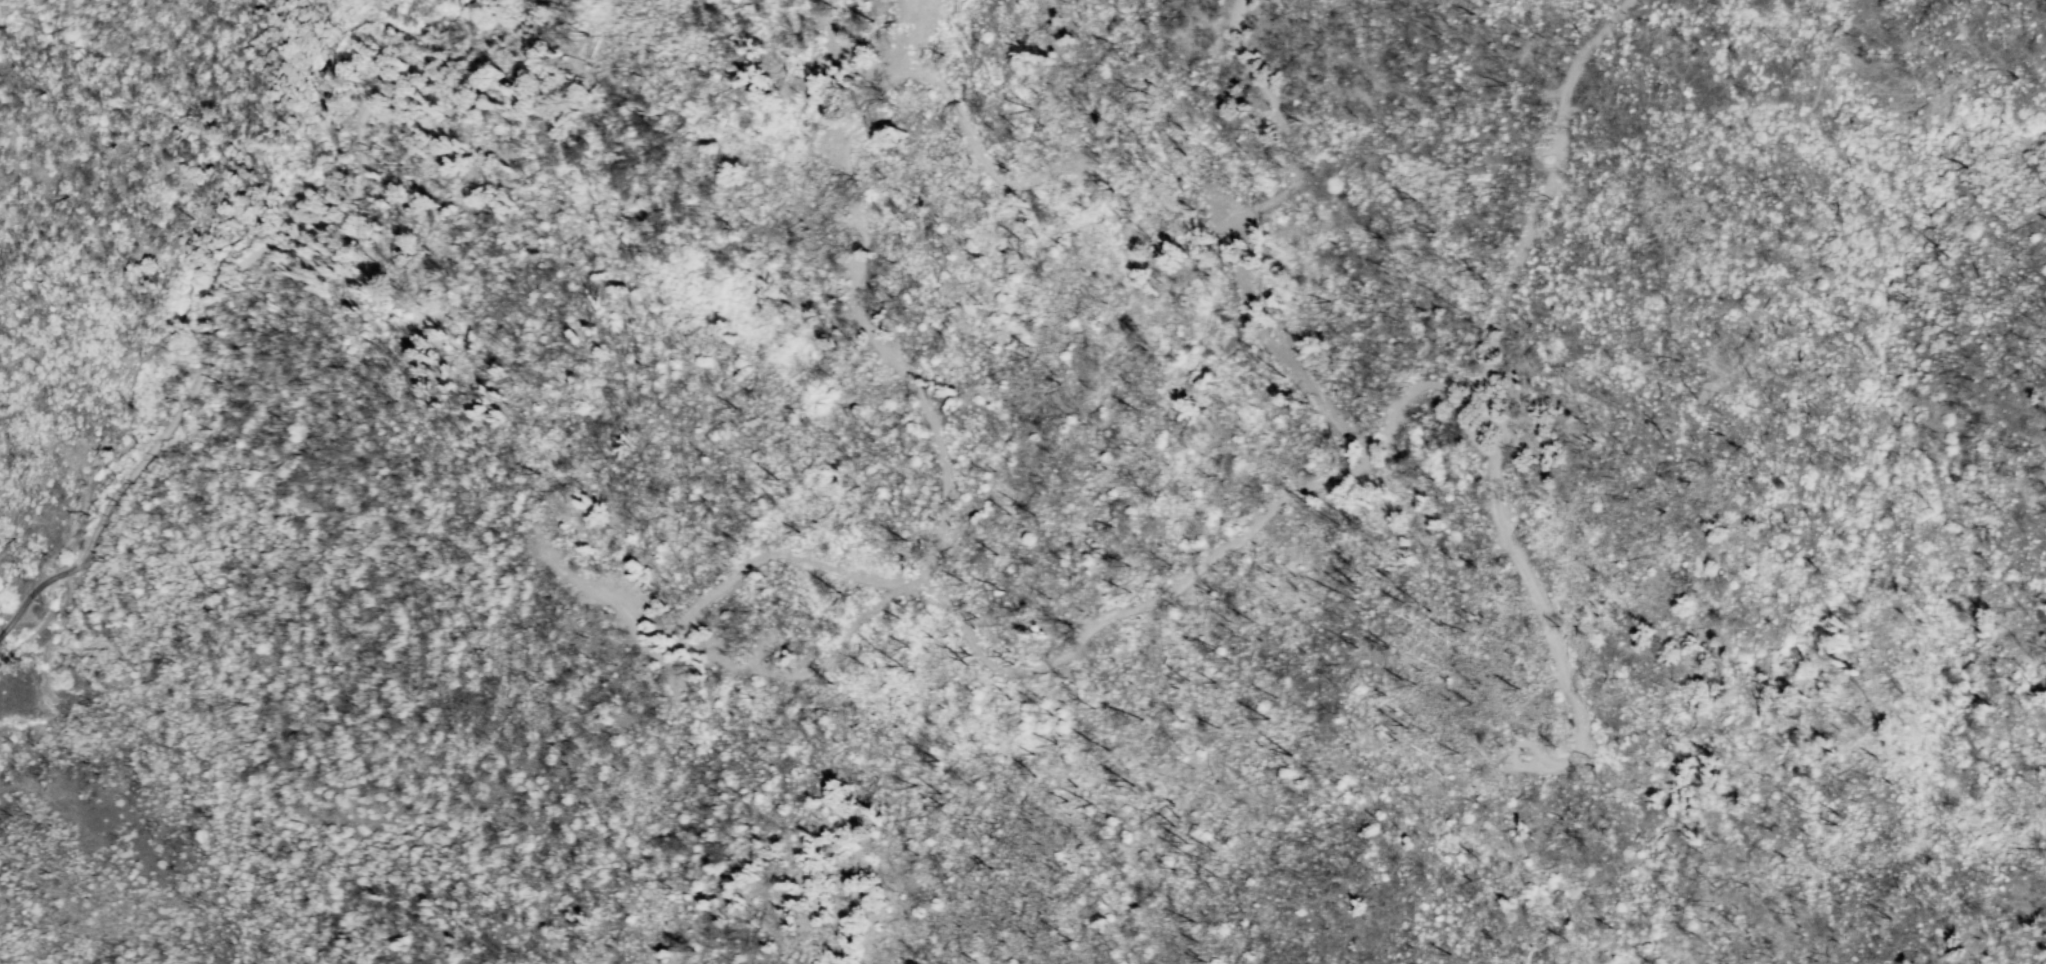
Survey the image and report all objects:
road: (13, 612)

